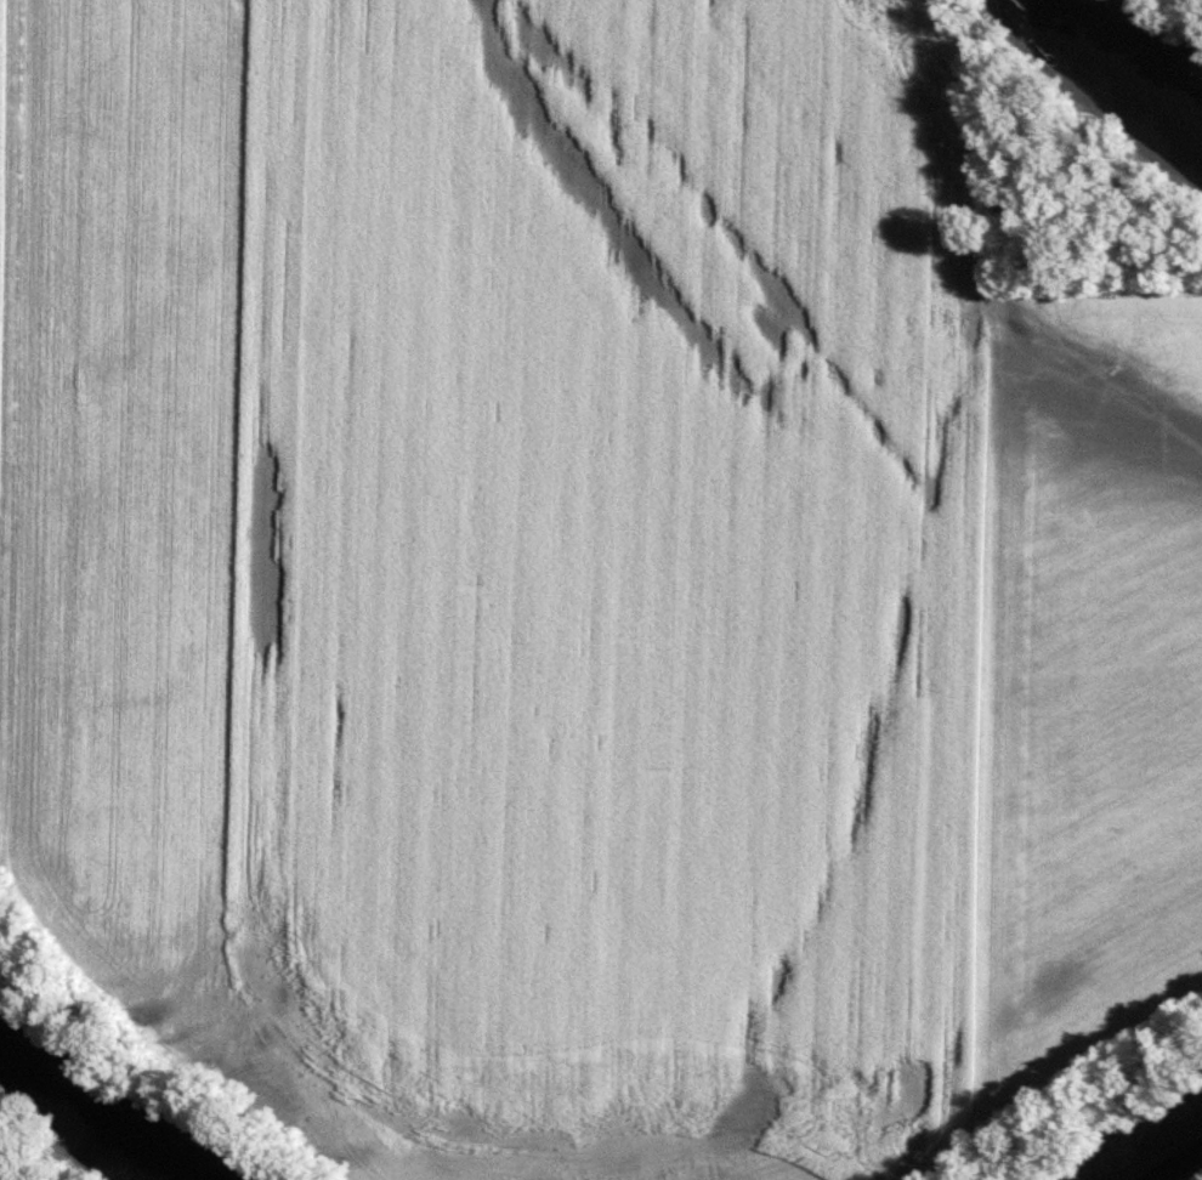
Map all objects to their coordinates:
river: (1141, 52)
river: (104, 1125)
river: (1156, 1150)

